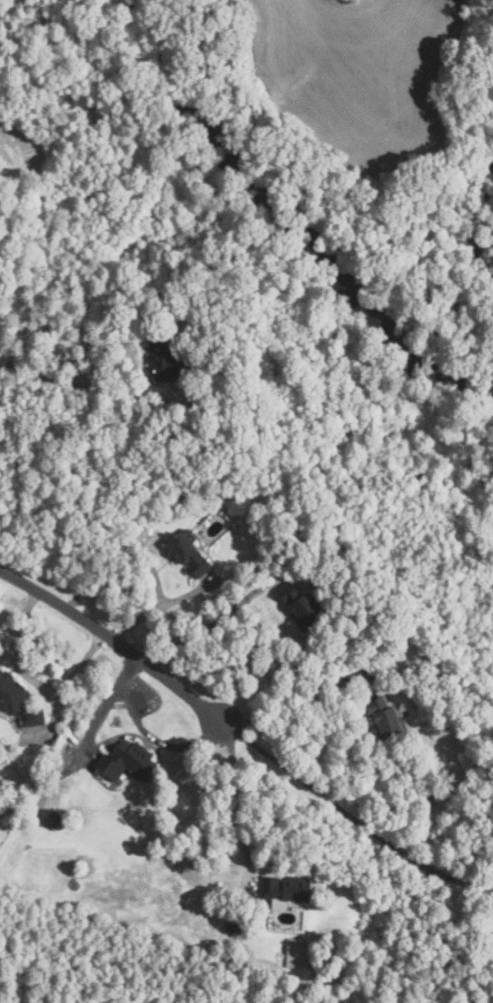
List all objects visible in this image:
crop: (359, 75)
building: (166, 358)
building: (223, 375)
road: (91, 388)
building: (160, 495)
building: (202, 498)
building: (191, 553)
building: (298, 562)
road: (161, 605)
building: (302, 607)
road: (216, 620)
road: (113, 642)
building: (0, 667)
road: (29, 678)
building: (431, 682)
building: (18, 700)
road: (103, 709)
road: (292, 712)
building: (387, 717)
road: (157, 740)
building: (127, 760)
road: (235, 802)
road: (351, 817)
building: (54, 819)
building: (285, 890)
building: (240, 923)
building: (298, 952)

